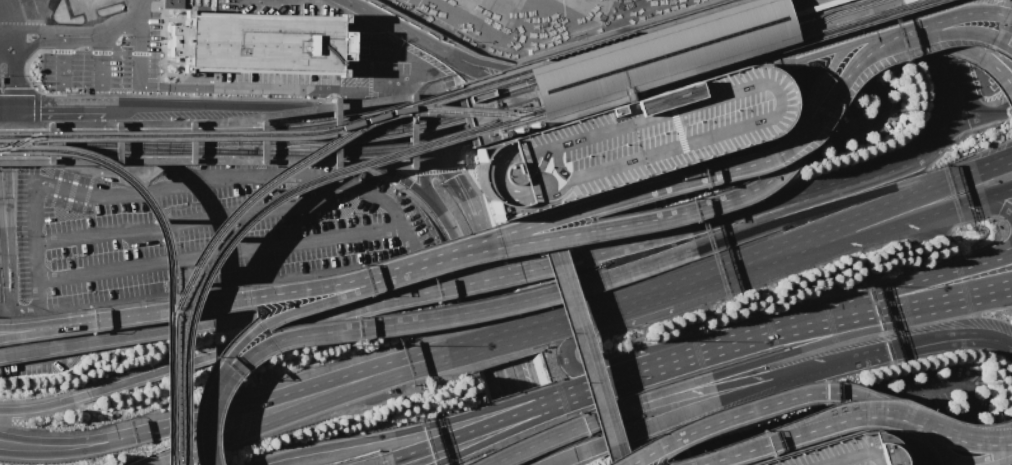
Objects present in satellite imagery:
building: (171, 4)
road: (140, 7)
airport apron: (586, 8)
road: (967, 11)
railway: (821, 15)
airport apron: (476, 16)
road: (73, 33)
road: (419, 38)
railway: (647, 38)
road: (917, 38)
railway: (792, 40)
building: (260, 41)
railway: (634, 42)
railway: (644, 44)
railway: (605, 46)
railway: (653, 47)
road: (829, 47)
railway: (669, 50)
railway: (642, 55)
railway: (668, 56)
railway: (563, 57)
railway: (687, 57)
road: (100, 58)
road: (62, 60)
building: (639, 60)
railway: (677, 64)
road: (467, 67)
road: (852, 68)
road: (821, 74)
road: (203, 84)
railway: (595, 91)
road: (622, 97)
road: (969, 98)
road: (227, 105)
traffic signals: (38, 106)
road: (51, 106)
road: (943, 107)
railway: (461, 112)
traffic signals: (463, 124)
railway: (332, 125)
road: (405, 125)
road: (958, 126)
railway: (103, 133)
railway: (191, 134)
road: (387, 135)
road: (439, 135)
railway: (136, 137)
railway: (19, 139)
building: (629, 139)
parking lot: (629, 139)
railway: (286, 141)
railway: (33, 142)
railway: (86, 142)
road: (8, 143)
road: (93, 143)
road: (260, 143)
railway: (178, 147)
railway: (359, 150)
railway: (124, 153)
road: (386, 153)
traffic signals: (396, 153)
traffic signals: (0, 154)
road: (96, 163)
road: (975, 171)
road: (701, 175)
road: (865, 176)
road: (399, 177)
traffic signals: (448, 178)
road: (0, 181)
road: (0, 184)
road: (424, 186)
railway: (132, 187)
road: (453, 187)
railway: (249, 193)
road: (840, 201)
railway: (262, 205)
road: (983, 205)
road: (2, 209)
road: (873, 211)
road: (750, 212)
road: (778, 212)
road: (911, 219)
road: (191, 220)
airport: (506, 232)
road: (580, 232)
road: (405, 233)
road: (719, 237)
road: (1001, 248)
road: (219, 253)
road: (570, 259)
road: (739, 264)
road: (926, 277)
road: (1002, 286)
road: (549, 292)
road: (262, 294)
road: (964, 295)
road: (302, 306)
road: (891, 307)
road: (601, 309)
road: (224, 320)
road: (45, 324)
road: (45, 327)
road: (787, 327)
road: (293, 334)
road: (492, 336)
road: (578, 336)
road: (263, 337)
road: (488, 337)
road: (921, 337)
road: (821, 339)
road: (569, 341)
road: (495, 342)
road: (511, 346)
road: (640, 355)
road: (643, 368)
road: (648, 379)
road: (319, 381)
road: (774, 381)
road: (729, 384)
railway: (166, 393)
road: (842, 395)
road: (652, 397)
road: (518, 399)
road: (321, 400)
road: (39, 406)
road: (522, 411)
road: (614, 413)
road: (900, 419)
road: (877, 422)
road: (526, 423)
road: (650, 424)
road: (205, 431)
road: (973, 433)
road: (94, 437)
road: (547, 437)
road: (365, 438)
road: (437, 441)
road: (665, 442)
road: (1008, 445)
road: (95, 447)
road: (745, 449)
road: (459, 452)
building: (840, 452)
parking lot: (840, 452)
road: (643, 455)
road: (560, 457)
road: (566, 457)
road: (970, 457)
railway: (167, 458)
road: (173, 458)
road: (379, 461)
road: (490, 462)

